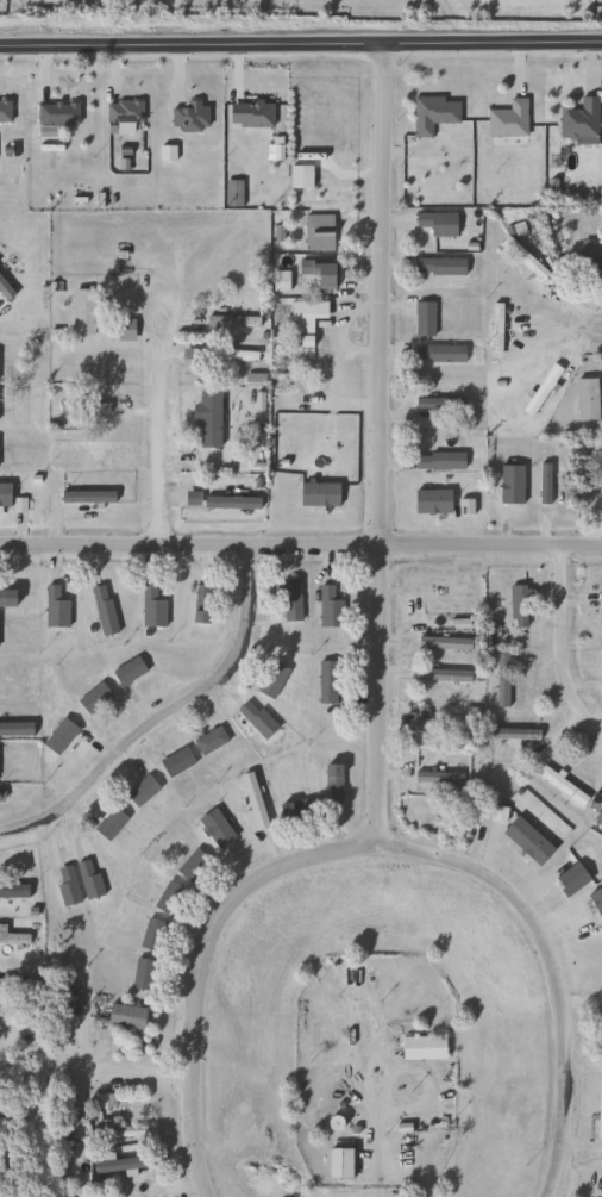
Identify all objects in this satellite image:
road: (301, 42)
building: (4, 112)
building: (121, 112)
building: (431, 113)
building: (55, 114)
building: (187, 117)
building: (507, 119)
building: (578, 119)
building: (299, 176)
building: (435, 223)
building: (318, 232)
building: (590, 257)
building: (522, 258)
building: (438, 267)
building: (318, 273)
building: (278, 281)
building: (83, 312)
building: (422, 319)
building: (231, 322)
building: (302, 322)
building: (494, 323)
road: (600, 328)
building: (124, 330)
building: (438, 354)
building: (231, 357)
building: (585, 400)
building: (82, 407)
road: (161, 437)
road: (380, 442)
building: (219, 460)
building: (437, 462)
building: (431, 501)
road: (300, 545)
building: (201, 592)
building: (447, 594)
building: (6, 597)
building: (290, 599)
building: (518, 604)
building: (600, 604)
building: (54, 607)
building: (150, 607)
building: (328, 607)
building: (104, 616)
building: (199, 616)
road: (564, 642)
building: (443, 643)
building: (127, 671)
building: (441, 675)
building: (270, 679)
building: (501, 679)
building: (326, 681)
building: (93, 697)
road: (164, 713)
building: (256, 719)
building: (437, 725)
building: (58, 736)
building: (208, 741)
building: (175, 761)
building: (437, 777)
building: (332, 783)
building: (560, 785)
building: (140, 791)
building: (252, 800)
building: (294, 810)
building: (597, 815)
building: (109, 823)
building: (214, 828)
building: (190, 864)
building: (87, 878)
building: (65, 884)
building: (13, 891)
building: (168, 897)
building: (152, 934)
building: (12, 936)
road: (199, 962)
road: (558, 964)
building: (142, 973)
building: (15, 984)
building: (74, 989)
building: (125, 1016)
building: (600, 1030)
building: (421, 1048)
road: (146, 1067)
building: (101, 1099)
building: (8, 1121)
building: (120, 1129)
building: (57, 1148)
building: (338, 1162)
road: (377, 1171)

